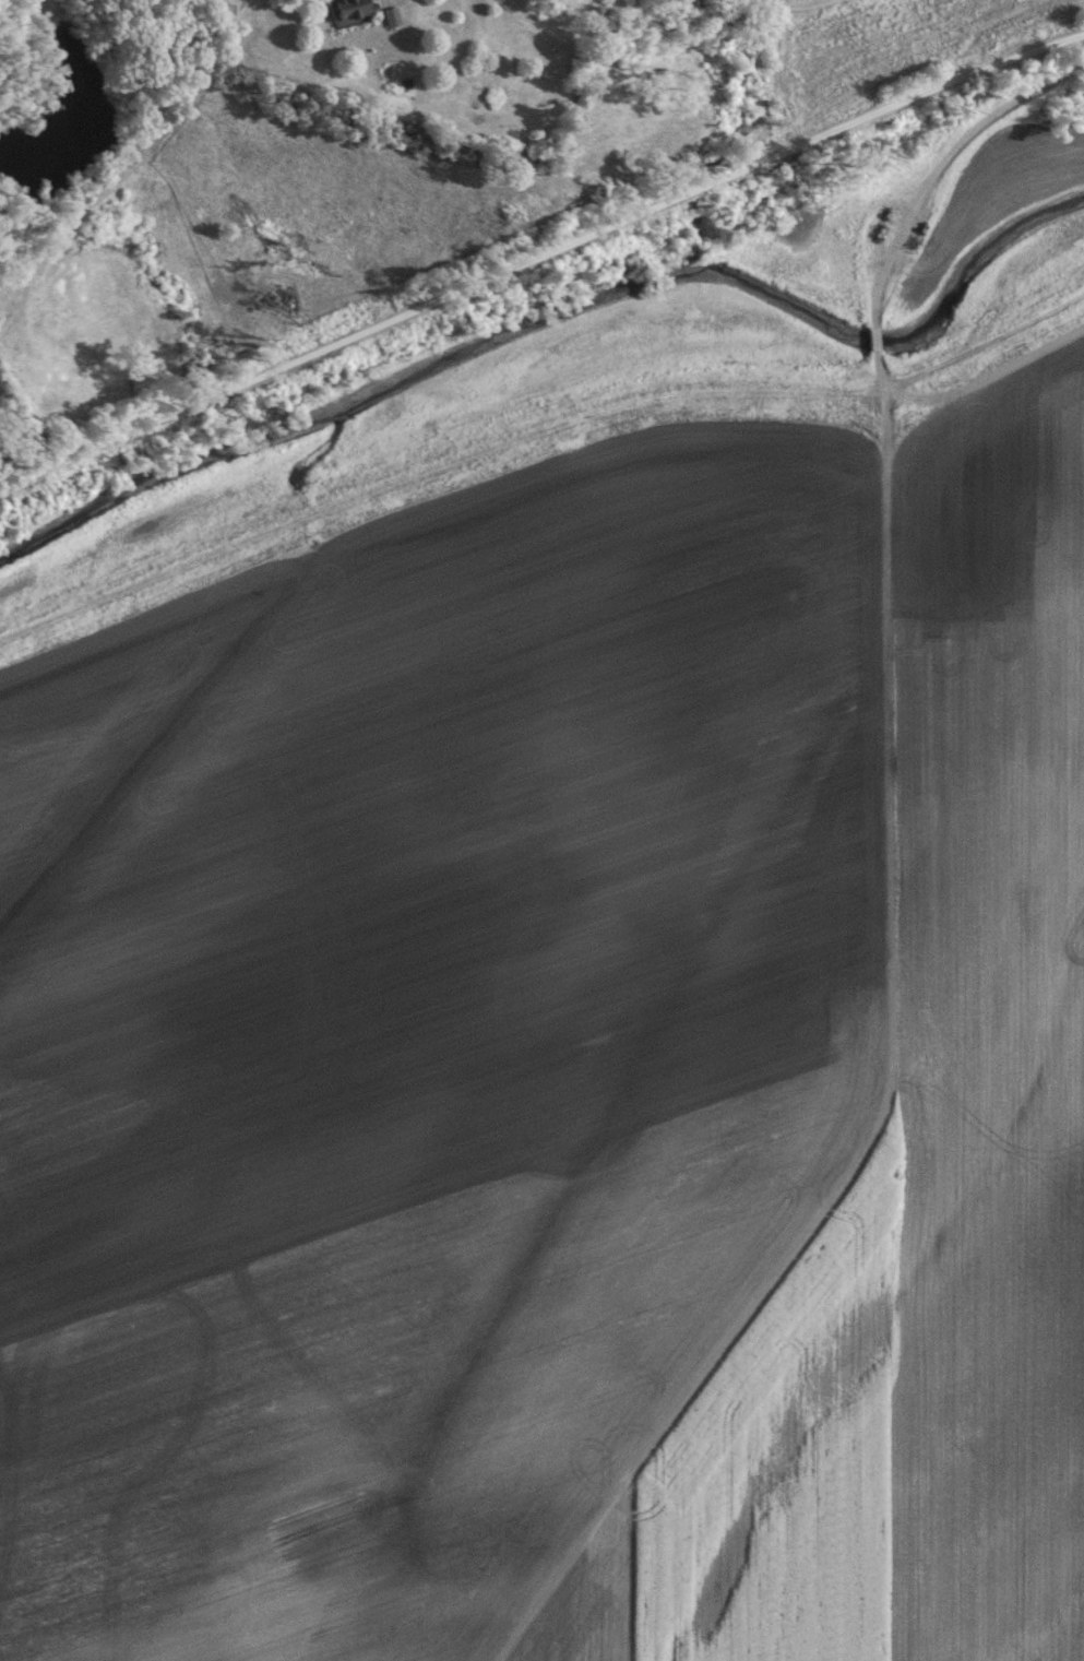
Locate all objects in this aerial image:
road: (802, 5)
building: (352, 9)
road: (897, 237)
road: (539, 258)

